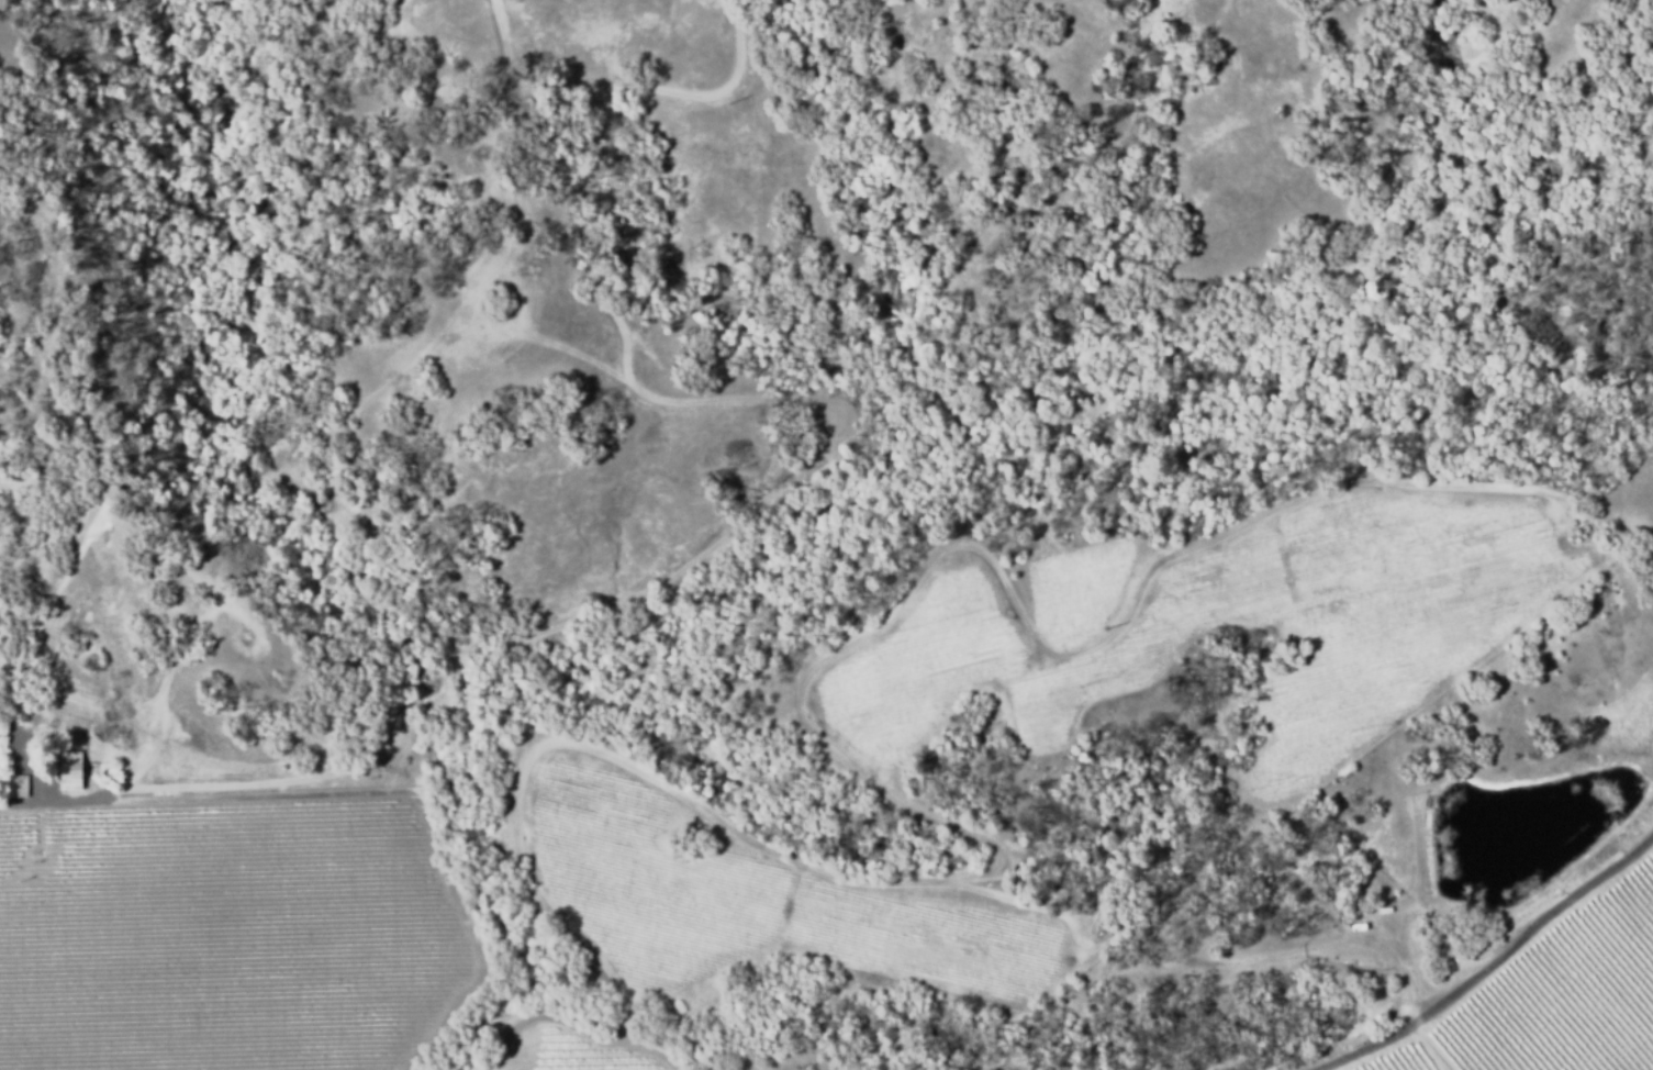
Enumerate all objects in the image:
building: (69, 772)
road: (177, 785)
building: (13, 788)

